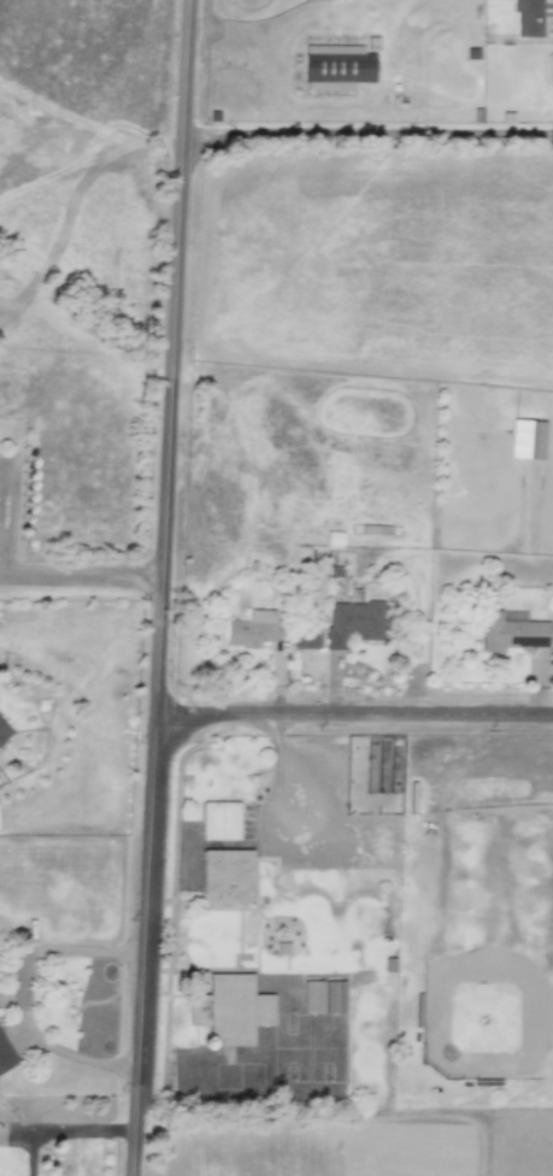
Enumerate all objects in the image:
building: (530, 16)
building: (336, 66)
road: (367, 129)
road: (180, 181)
building: (526, 439)
building: (334, 539)
road: (81, 577)
building: (352, 622)
building: (252, 628)
building: (510, 633)
building: (305, 637)
road: (358, 730)
building: (2, 731)
road: (160, 769)
road: (271, 786)
building: (219, 821)
building: (225, 871)
road: (24, 996)
building: (311, 996)
building: (333, 996)
building: (229, 1009)
building: (5, 1056)
road: (64, 1129)

